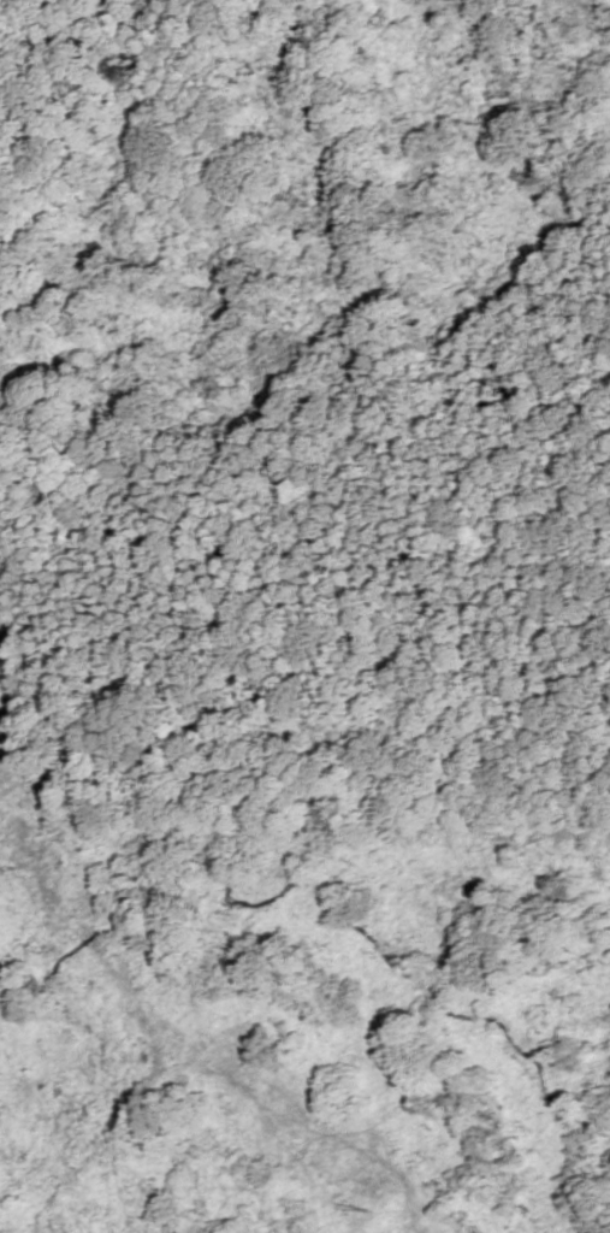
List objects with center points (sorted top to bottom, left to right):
power tower: (367, 1210)

